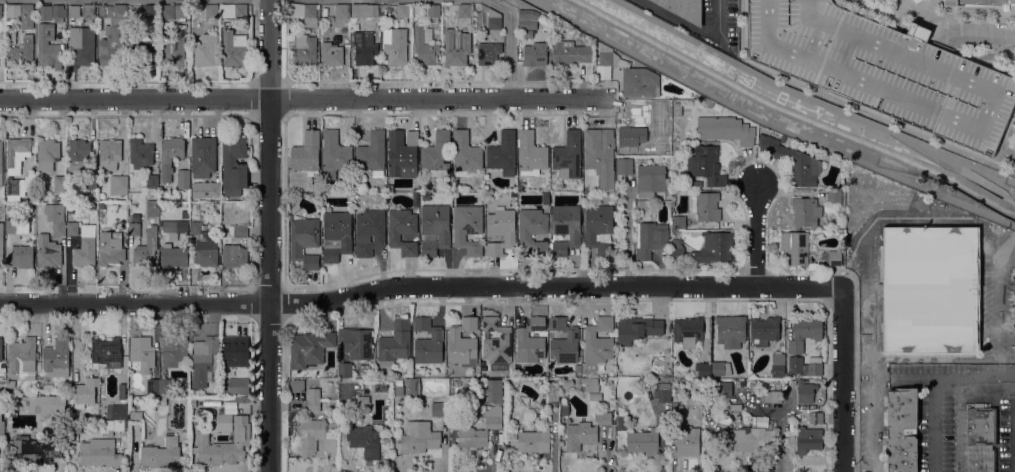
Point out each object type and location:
building: (976, 2)
building: (683, 9)
building: (13, 10)
building: (234, 10)
building: (402, 10)
building: (433, 10)
building: (1, 11)
building: (26, 11)
building: (74, 11)
building: (88, 11)
building: (150, 11)
building: (172, 11)
building: (211, 11)
building: (342, 11)
building: (364, 11)
building: (304, 12)
building: (421, 12)
building: (58, 13)
building: (465, 14)
building: (8, 20)
building: (494, 21)
building: (527, 23)
road: (692, 28)
building: (112, 34)
road: (976, 34)
building: (163, 35)
building: (11, 38)
road: (512, 40)
building: (82, 45)
building: (48, 46)
building: (395, 46)
building: (424, 46)
building: (174, 48)
building: (233, 48)
building: (364, 48)
building: (456, 48)
building: (207, 51)
building: (21, 52)
building: (305, 52)
building: (533, 52)
building: (488, 53)
building: (570, 53)
building: (142, 54)
building: (331, 54)
building: (603, 65)
building: (882, 69)
building: (630, 74)
road: (306, 98)
road: (811, 99)
building: (845, 117)
road: (770, 123)
building: (725, 129)
building: (631, 136)
building: (411, 137)
building: (17, 153)
building: (140, 153)
building: (307, 153)
building: (372, 153)
building: (400, 153)
building: (503, 153)
building: (47, 154)
building: (109, 154)
building: (437, 154)
building: (465, 154)
building: (531, 154)
building: (568, 154)
building: (334, 155)
building: (600, 155)
building: (170, 156)
building: (202, 156)
building: (793, 160)
building: (82, 161)
building: (1, 163)
building: (234, 165)
building: (706, 165)
building: (624, 166)
road: (973, 176)
building: (652, 178)
building: (183, 179)
building: (152, 183)
building: (693, 184)
building: (59, 185)
building: (118, 185)
building: (326, 186)
building: (14, 188)
building: (519, 188)
building: (213, 192)
building: (74, 195)
building: (834, 196)
building: (31, 198)
building: (545, 198)
building: (101, 205)
building: (705, 206)
building: (152, 208)
building: (806, 212)
building: (638, 217)
building: (678, 222)
road: (870, 223)
building: (10, 226)
building: (59, 228)
building: (72, 228)
building: (195, 228)
building: (468, 228)
building: (565, 228)
building: (598, 228)
building: (134, 229)
building: (434, 229)
building: (500, 230)
building: (533, 230)
building: (169, 231)
building: (238, 231)
building: (402, 231)
building: (40, 232)
building: (369, 232)
road: (756, 233)
road: (626, 234)
building: (336, 235)
road: (269, 236)
building: (650, 239)
building: (1, 241)
building: (304, 241)
building: (85, 247)
building: (110, 248)
building: (676, 248)
building: (714, 248)
building: (794, 248)
building: (146, 250)
building: (207, 254)
building: (20, 256)
building: (174, 256)
building: (234, 256)
building: (832, 257)
building: (49, 258)
road: (419, 287)
building: (930, 292)
road: (997, 305)
building: (637, 328)
building: (807, 328)
building: (764, 330)
building: (687, 331)
building: (730, 331)
building: (530, 341)
building: (427, 342)
building: (496, 342)
building: (564, 342)
building: (356, 343)
building: (395, 343)
building: (463, 343)
building: (597, 343)
building: (1, 348)
building: (309, 348)
building: (174, 351)
building: (235, 351)
building: (106, 352)
building: (142, 353)
building: (23, 358)
building: (56, 358)
building: (205, 360)
building: (778, 366)
building: (805, 366)
building: (720, 368)
building: (703, 369)
building: (345, 370)
building: (364, 370)
building: (38, 374)
road: (944, 376)
road: (841, 379)
building: (556, 381)
building: (742, 383)
building: (757, 383)
building: (791, 383)
building: (566, 384)
building: (298, 385)
building: (590, 385)
building: (152, 386)
building: (165, 386)
building: (238, 386)
building: (47, 388)
building: (411, 389)
building: (723, 390)
building: (37, 391)
building: (398, 391)
building: (494, 391)
building: (772, 391)
building: (805, 391)
building: (85, 392)
building: (193, 392)
building: (552, 392)
building: (663, 392)
building: (122, 394)
building: (314, 401)
building: (362, 401)
building: (161, 402)
building: (193, 402)
building: (45, 404)
building: (438, 409)
building: (11, 410)
building: (113, 411)
building: (676, 411)
building: (136, 415)
building: (815, 418)
building: (350, 419)
building: (493, 422)
building: (621, 423)
building: (1, 424)
road: (873, 424)
road: (934, 424)
building: (114, 426)
building: (76, 428)
building: (902, 430)
building: (585, 432)
building: (313, 434)
building: (362, 437)
building: (419, 437)
building: (239, 438)
building: (981, 438)
building: (751, 439)
building: (808, 439)
building: (534, 441)
building: (643, 442)
building: (687, 442)
building: (34, 450)
building: (99, 452)
building: (161, 453)

